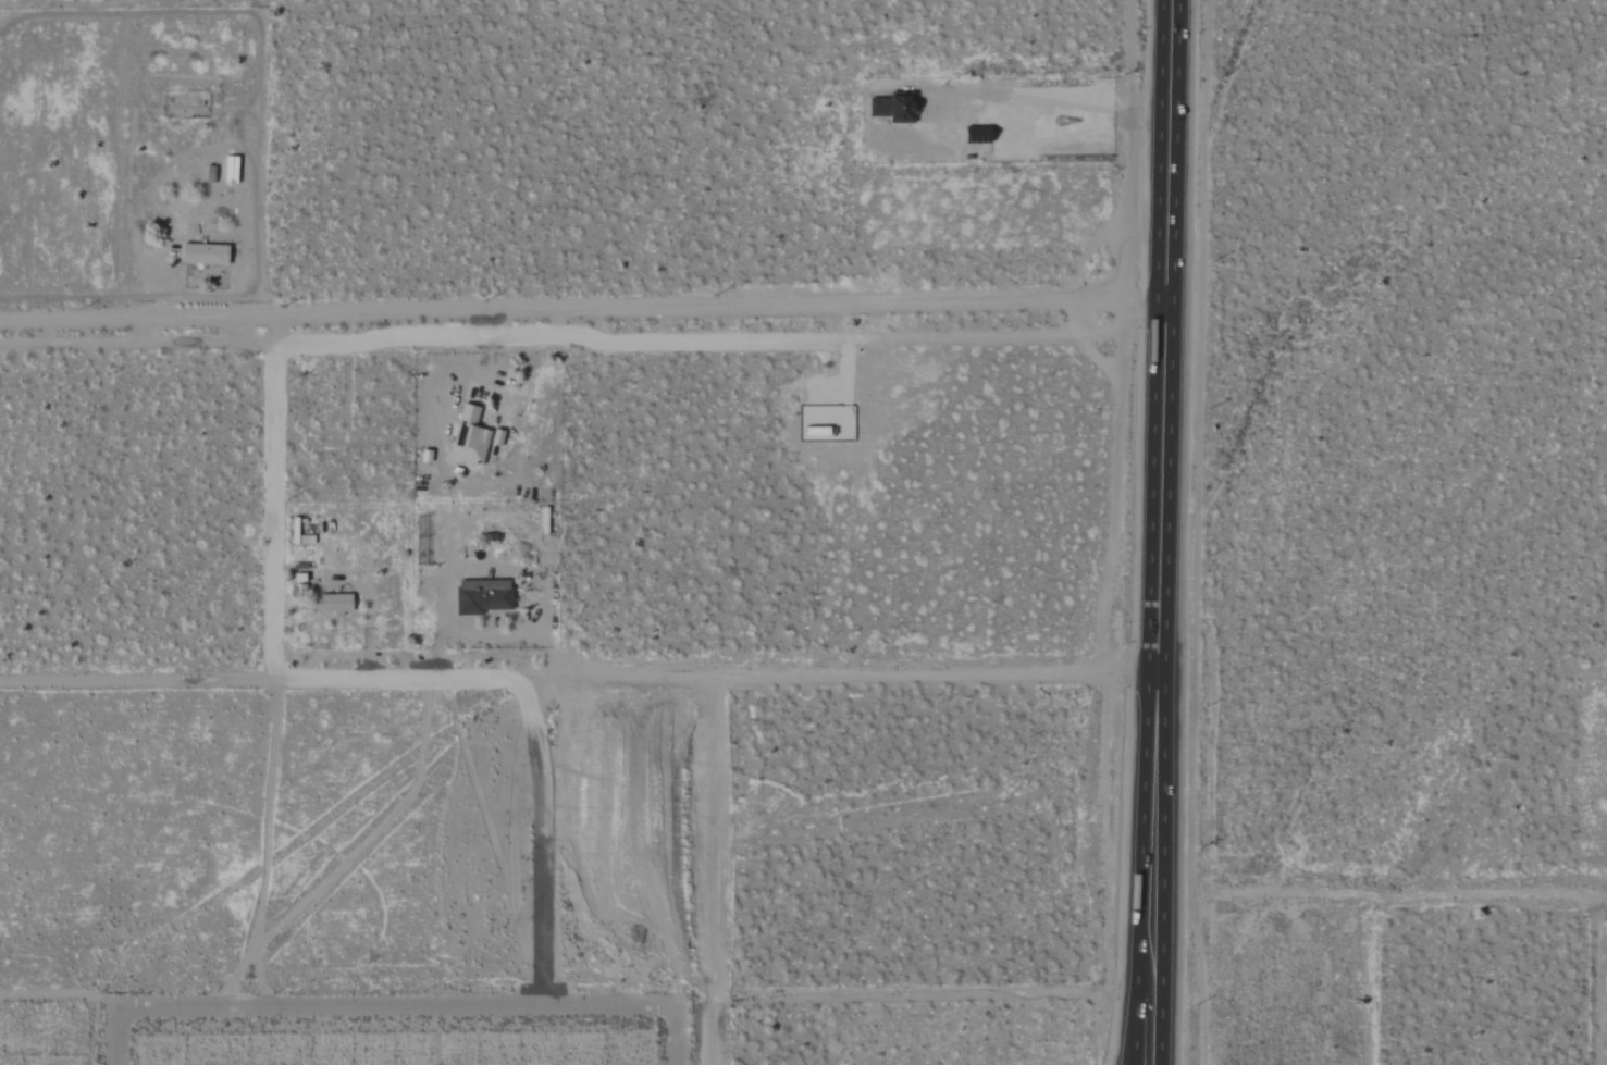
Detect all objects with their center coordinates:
building: (890, 110)
road: (1079, 115)
building: (205, 255)
road: (187, 290)
road: (583, 309)
road: (998, 334)
road: (580, 338)
road: (460, 388)
building: (469, 438)
road: (277, 496)
road: (1161, 532)
building: (482, 597)
building: (335, 604)
road: (367, 628)
road: (490, 635)
road: (579, 677)
road: (543, 840)
road: (265, 845)
road: (1381, 893)
road: (59, 996)
road: (397, 1007)
road: (119, 1035)
road: (678, 1035)

